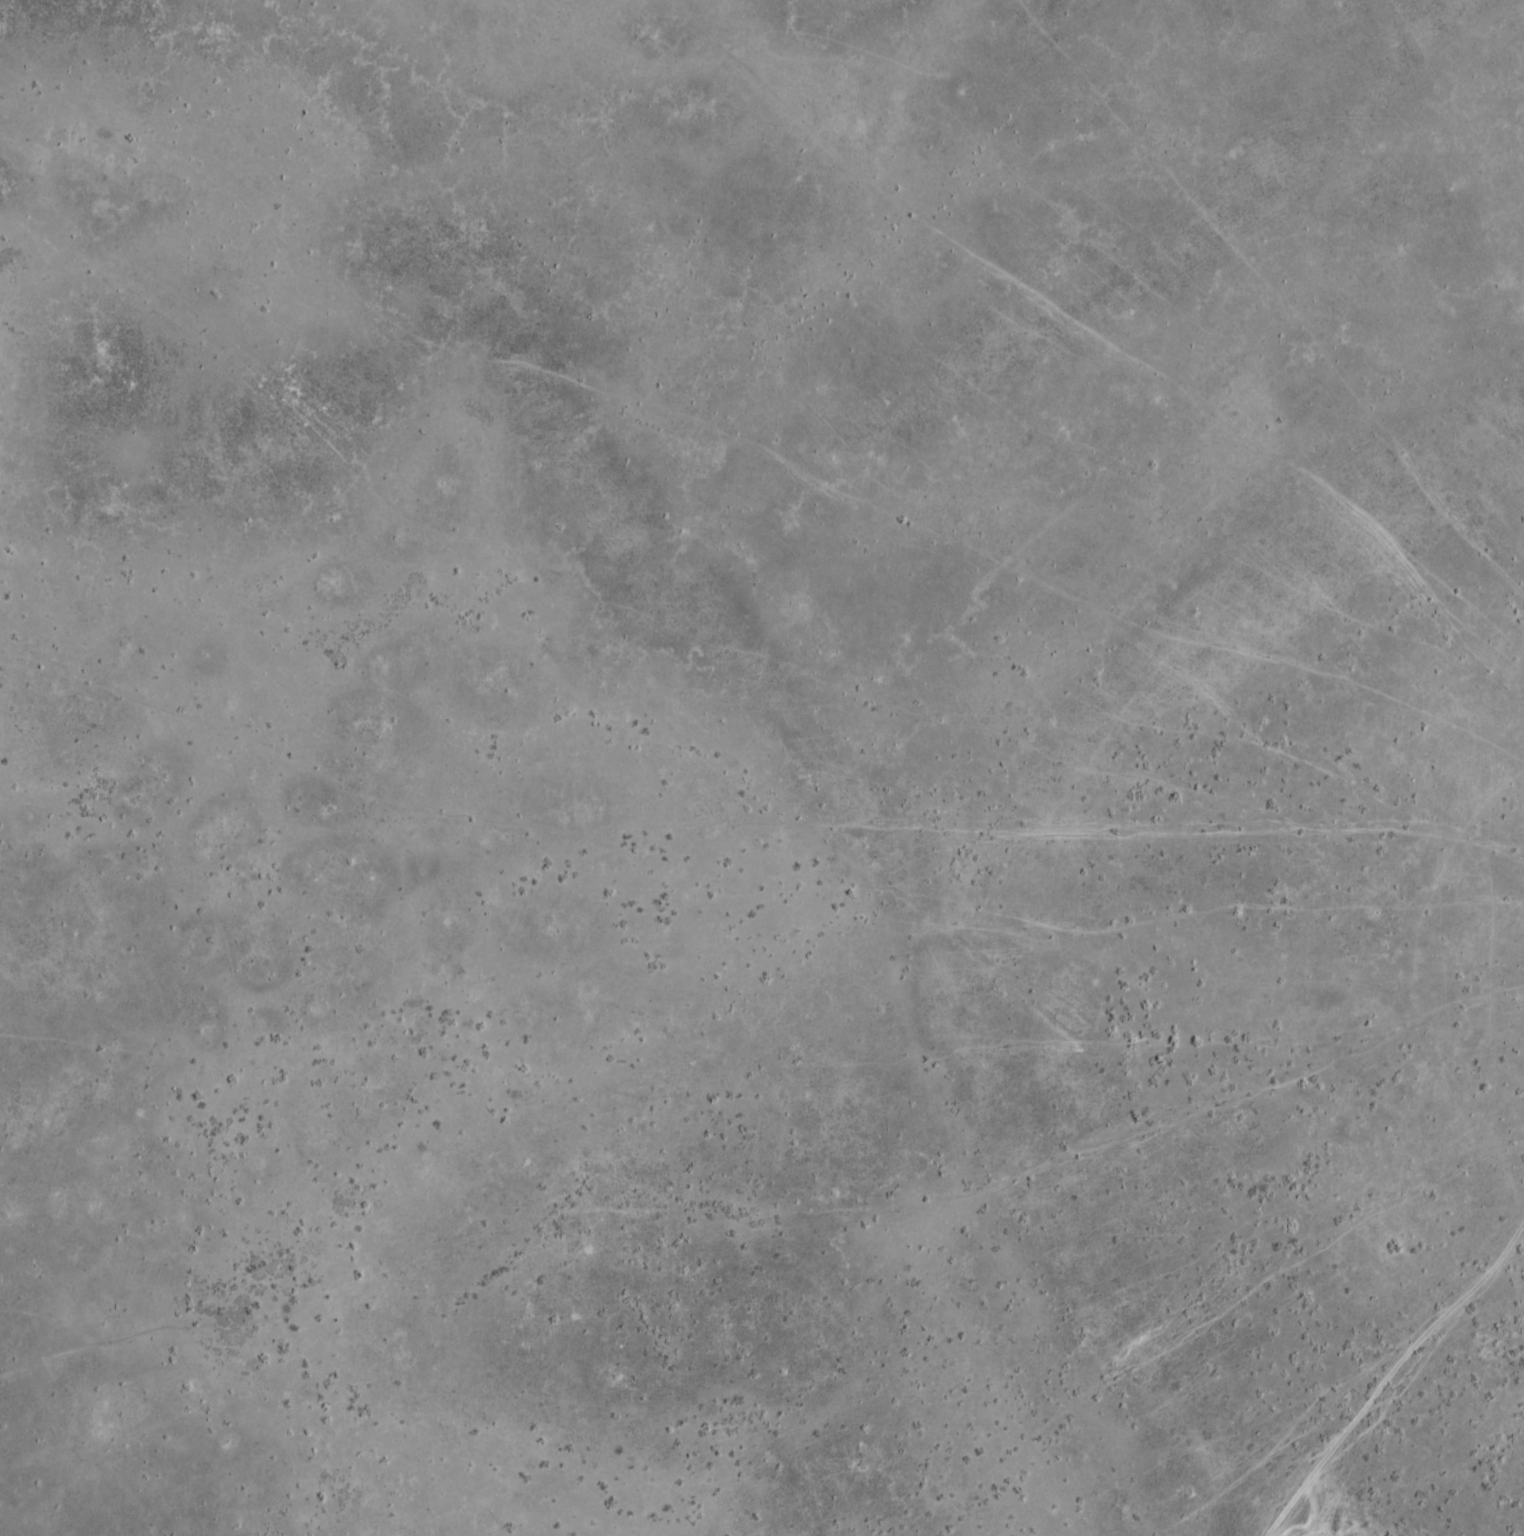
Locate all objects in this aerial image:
road: (1382, 1371)

